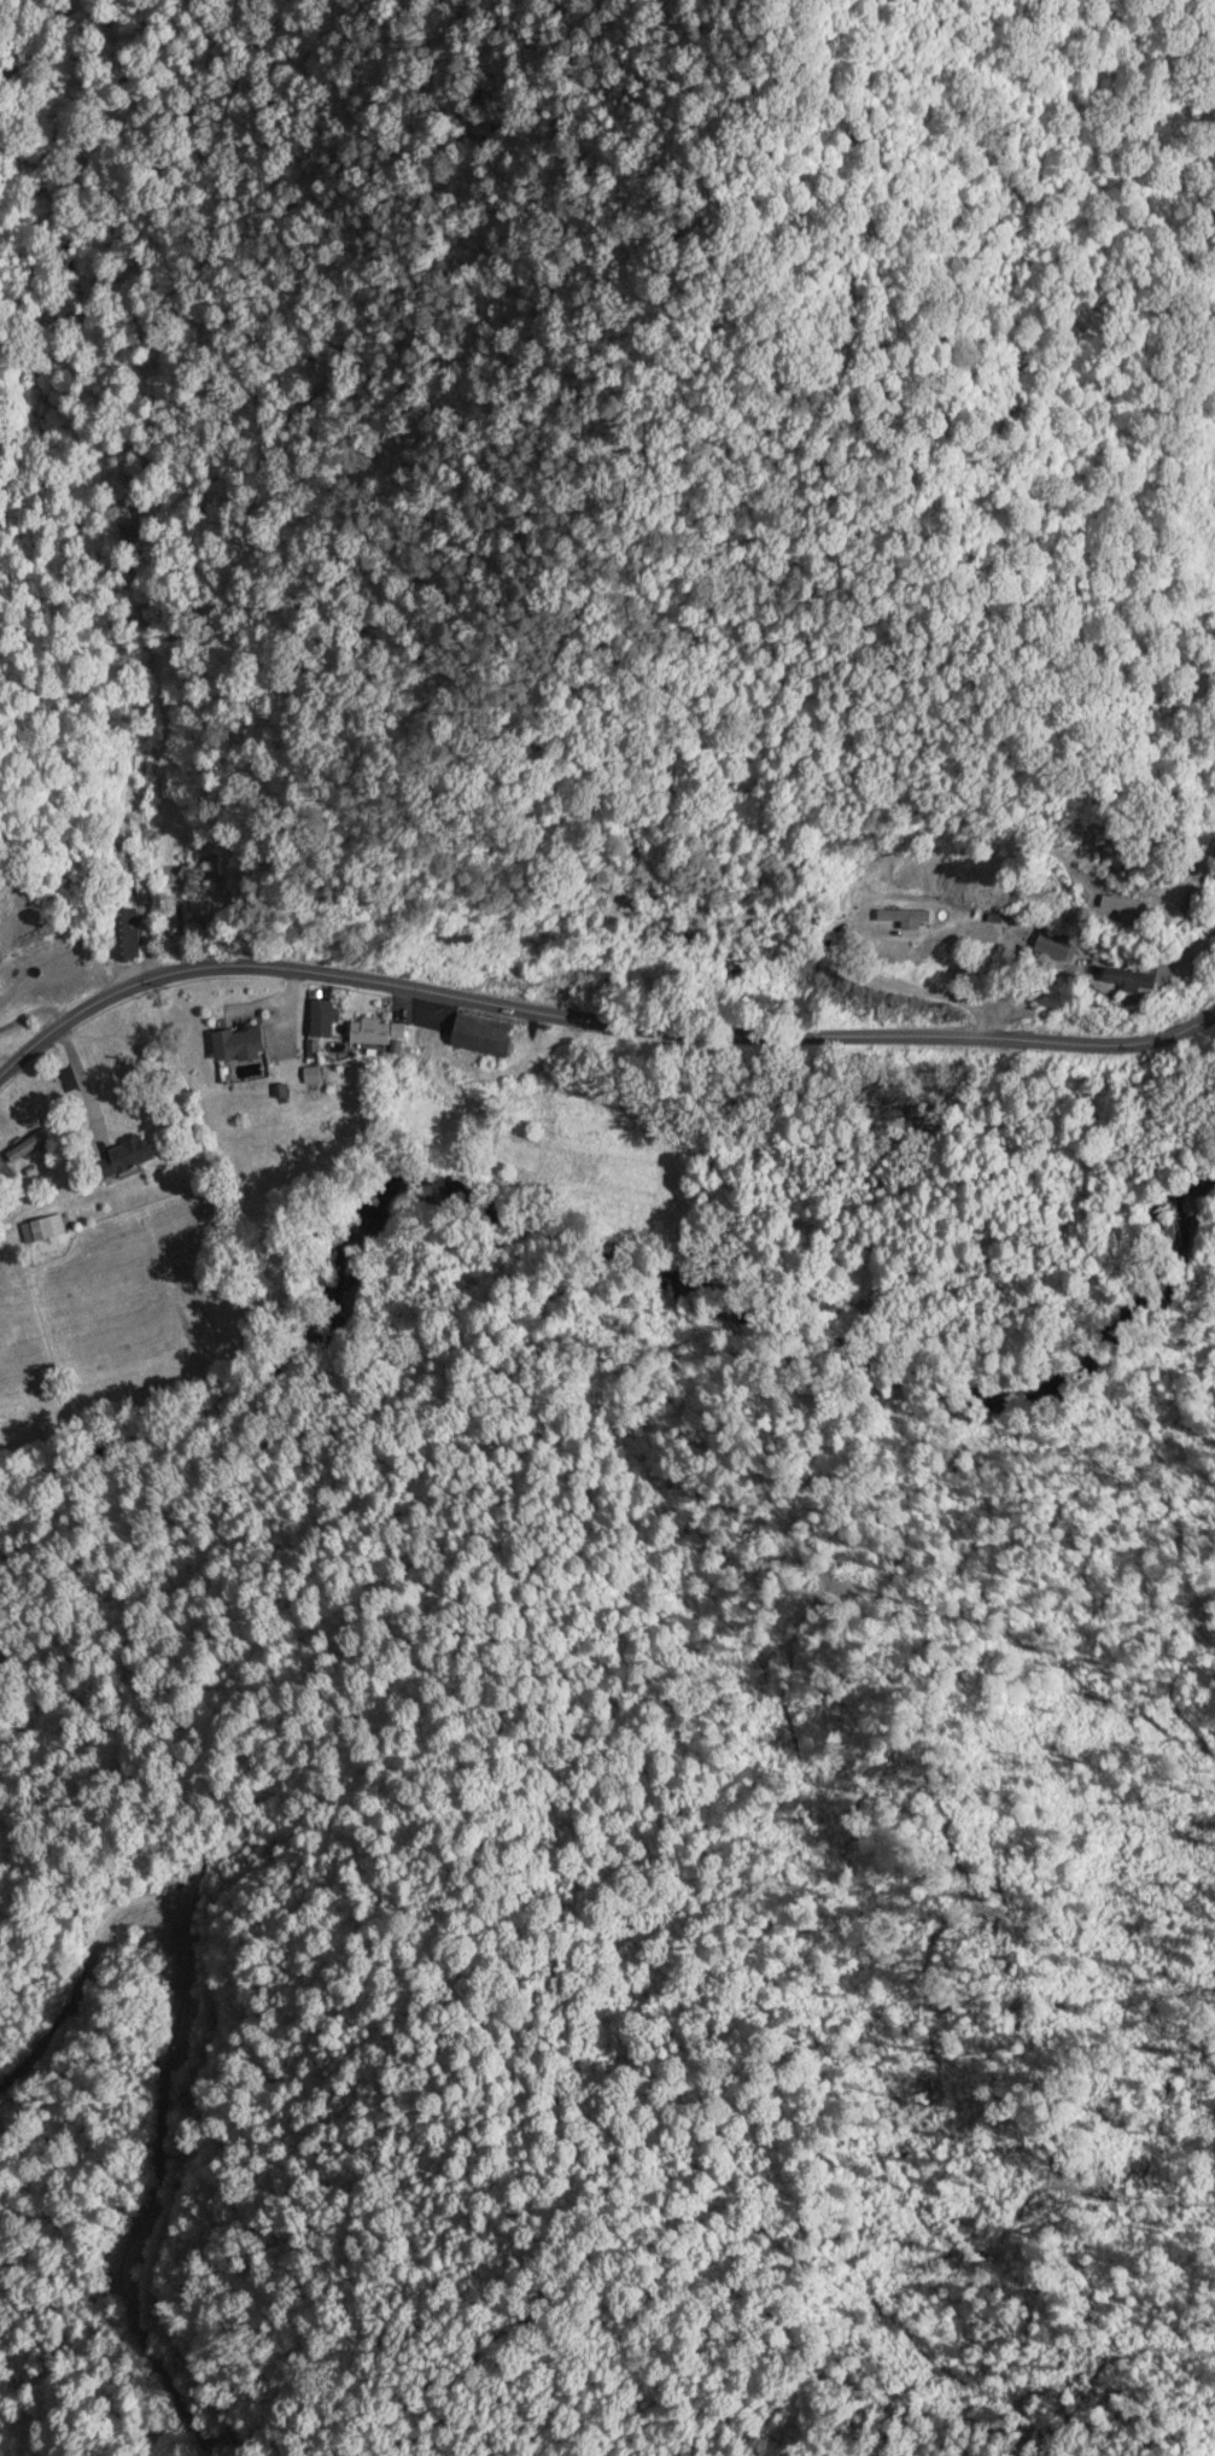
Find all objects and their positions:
road: (1203, 815)
road: (1138, 827)
road: (588, 966)
road: (455, 1188)

